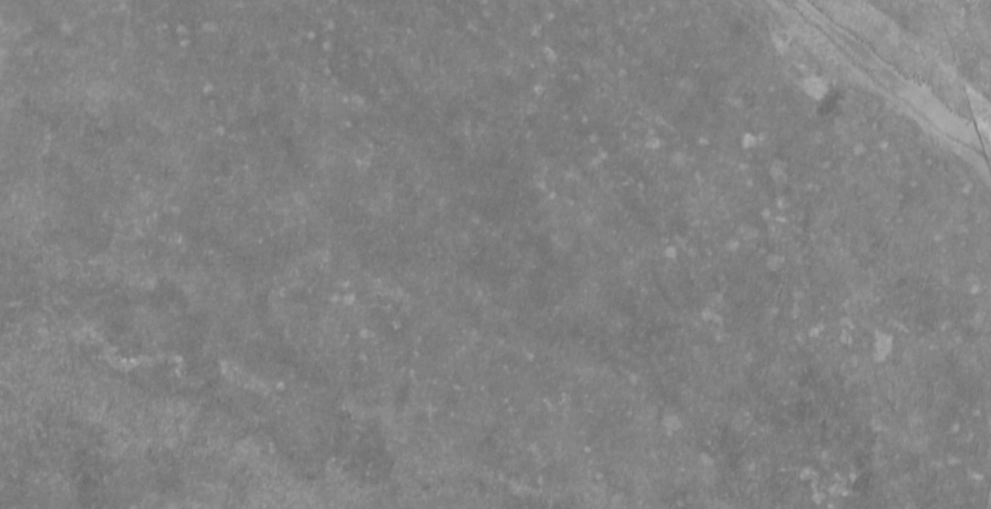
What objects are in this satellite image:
crop: (971, 50)

